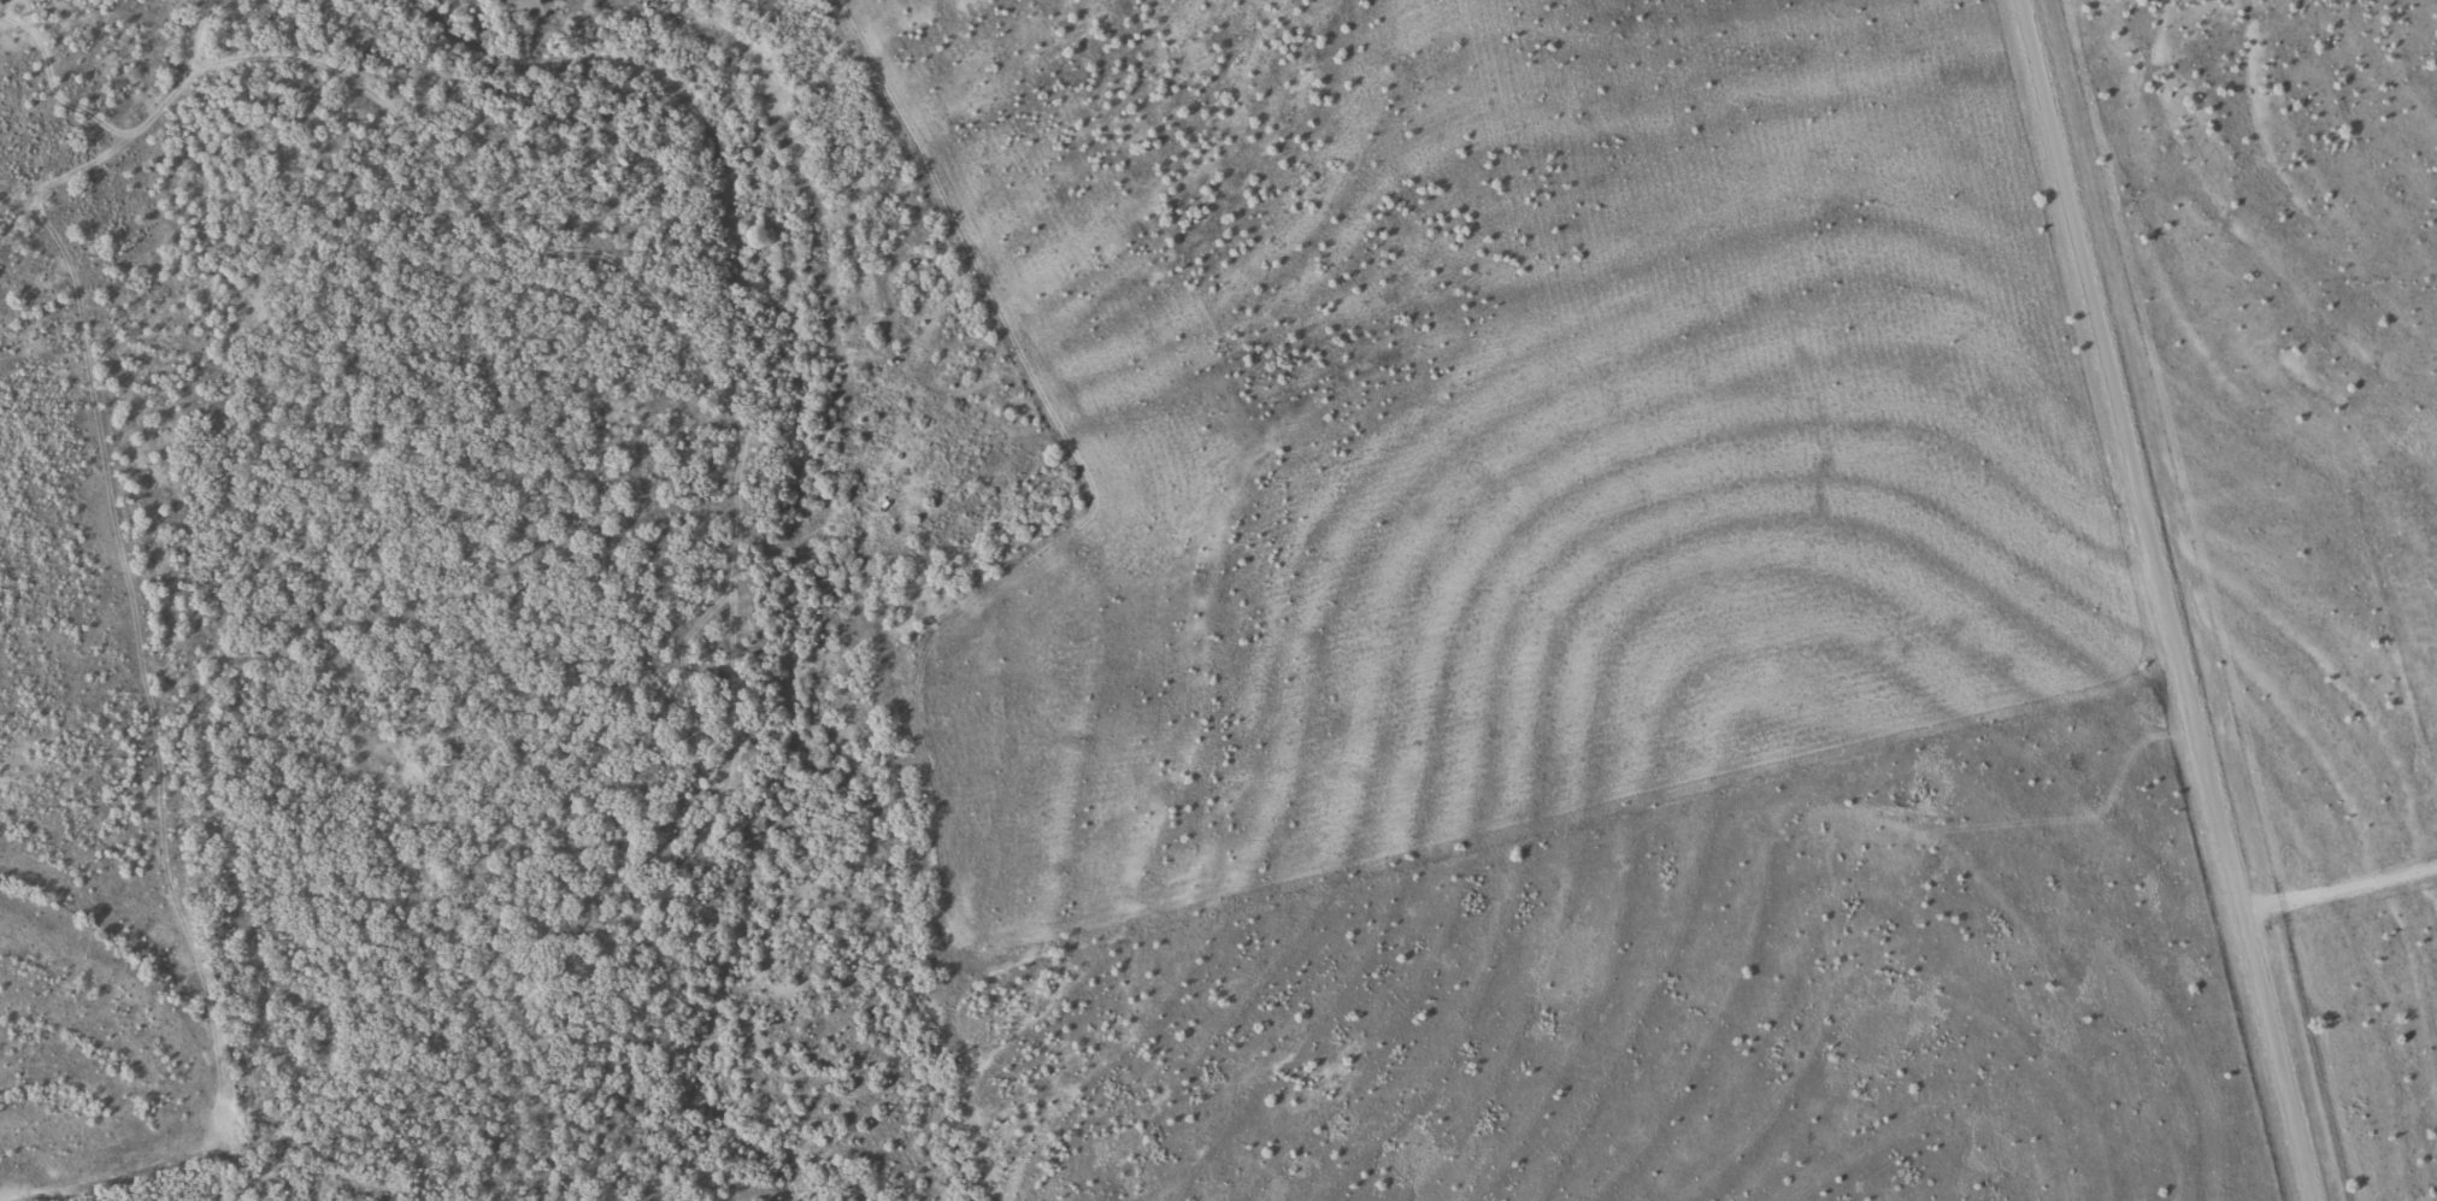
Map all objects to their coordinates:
road: (2164, 600)
road: (2341, 893)

